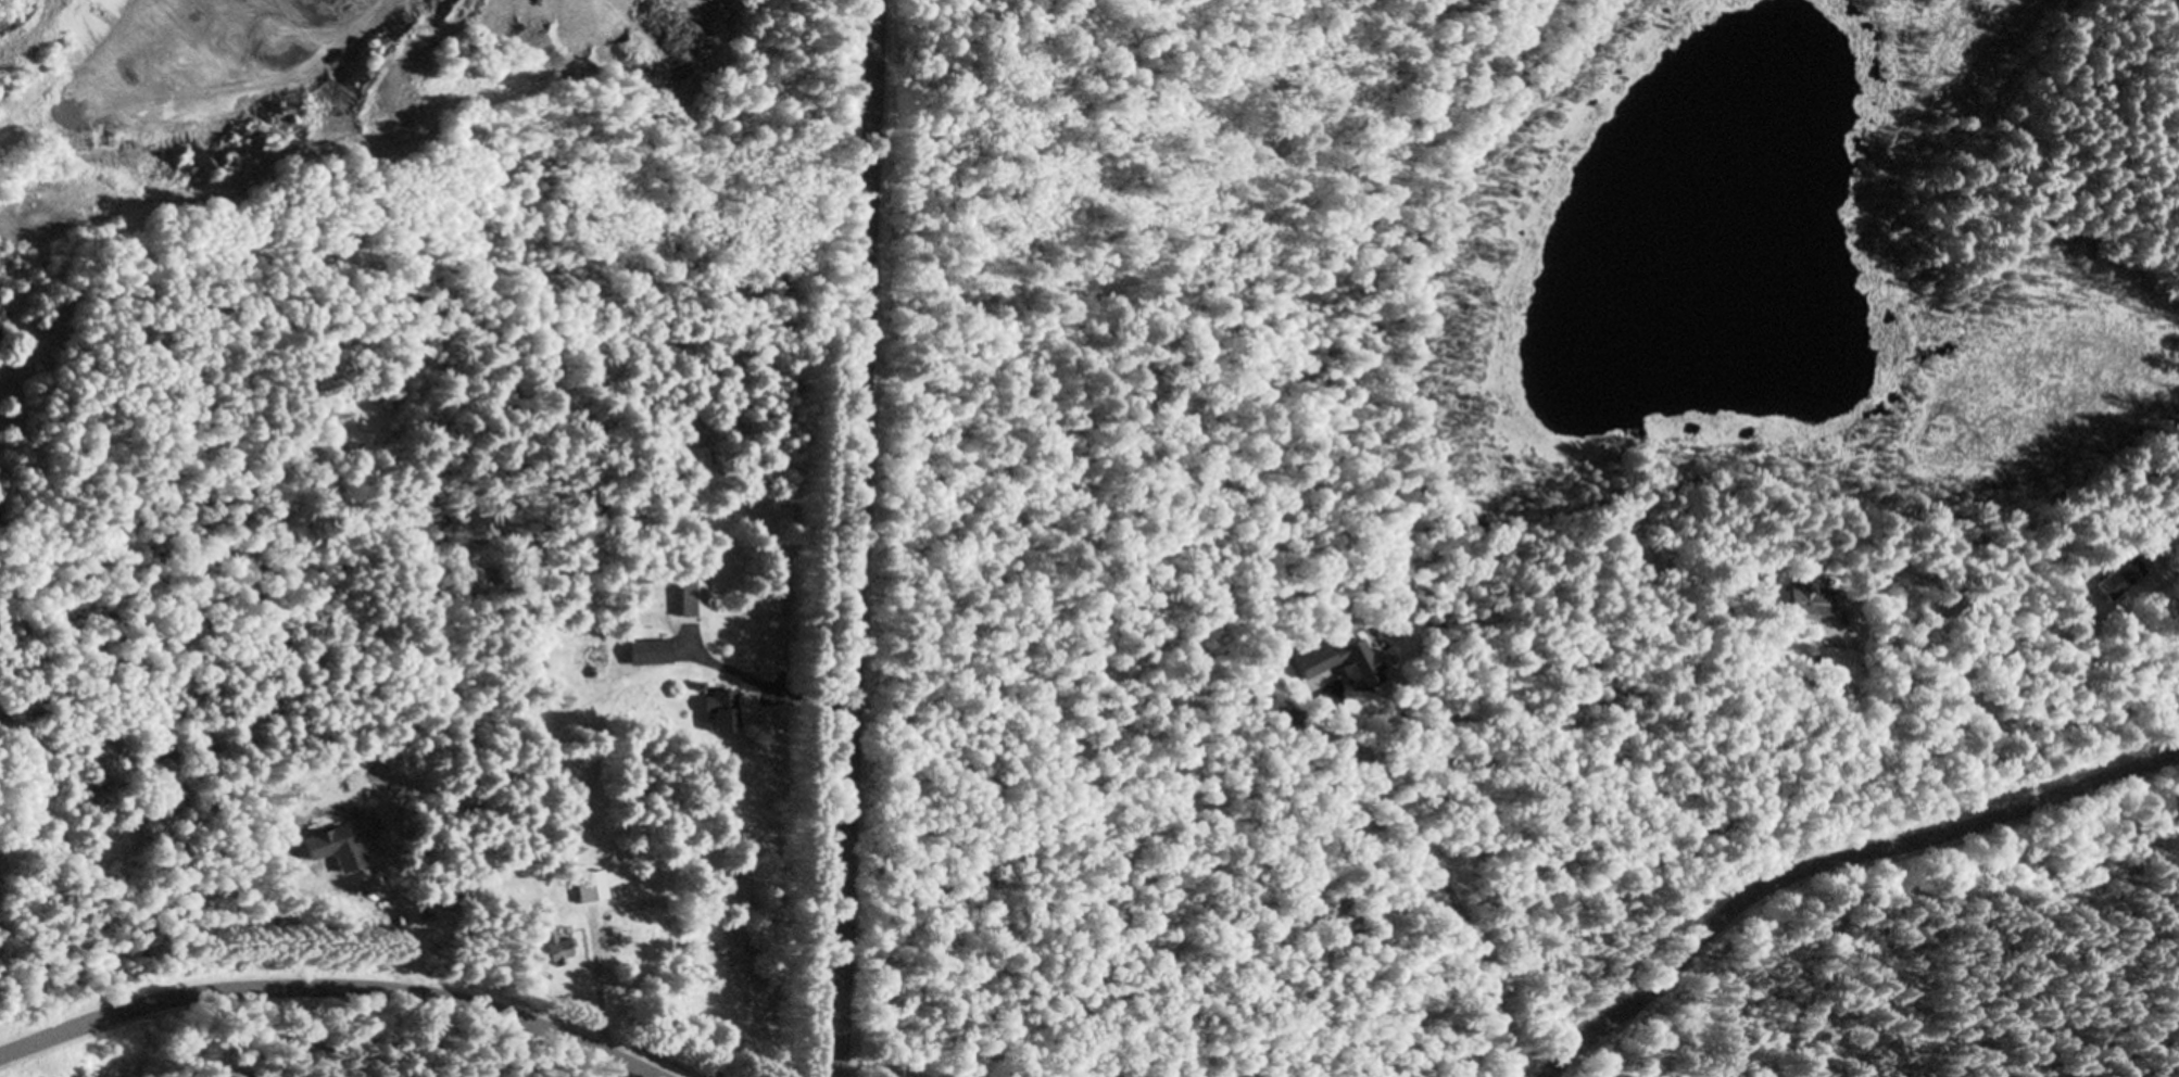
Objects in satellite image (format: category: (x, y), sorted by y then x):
park: (1245, 151)
park: (2014, 162)
quarry: (388, 189)
road: (851, 537)
building: (2065, 574)
building: (2118, 581)
building: (689, 599)
building: (1808, 604)
building: (645, 654)
building: (1832, 660)
building: (1336, 664)
building: (717, 713)
road: (1832, 858)
building: (588, 889)
building: (551, 946)
road: (332, 981)

